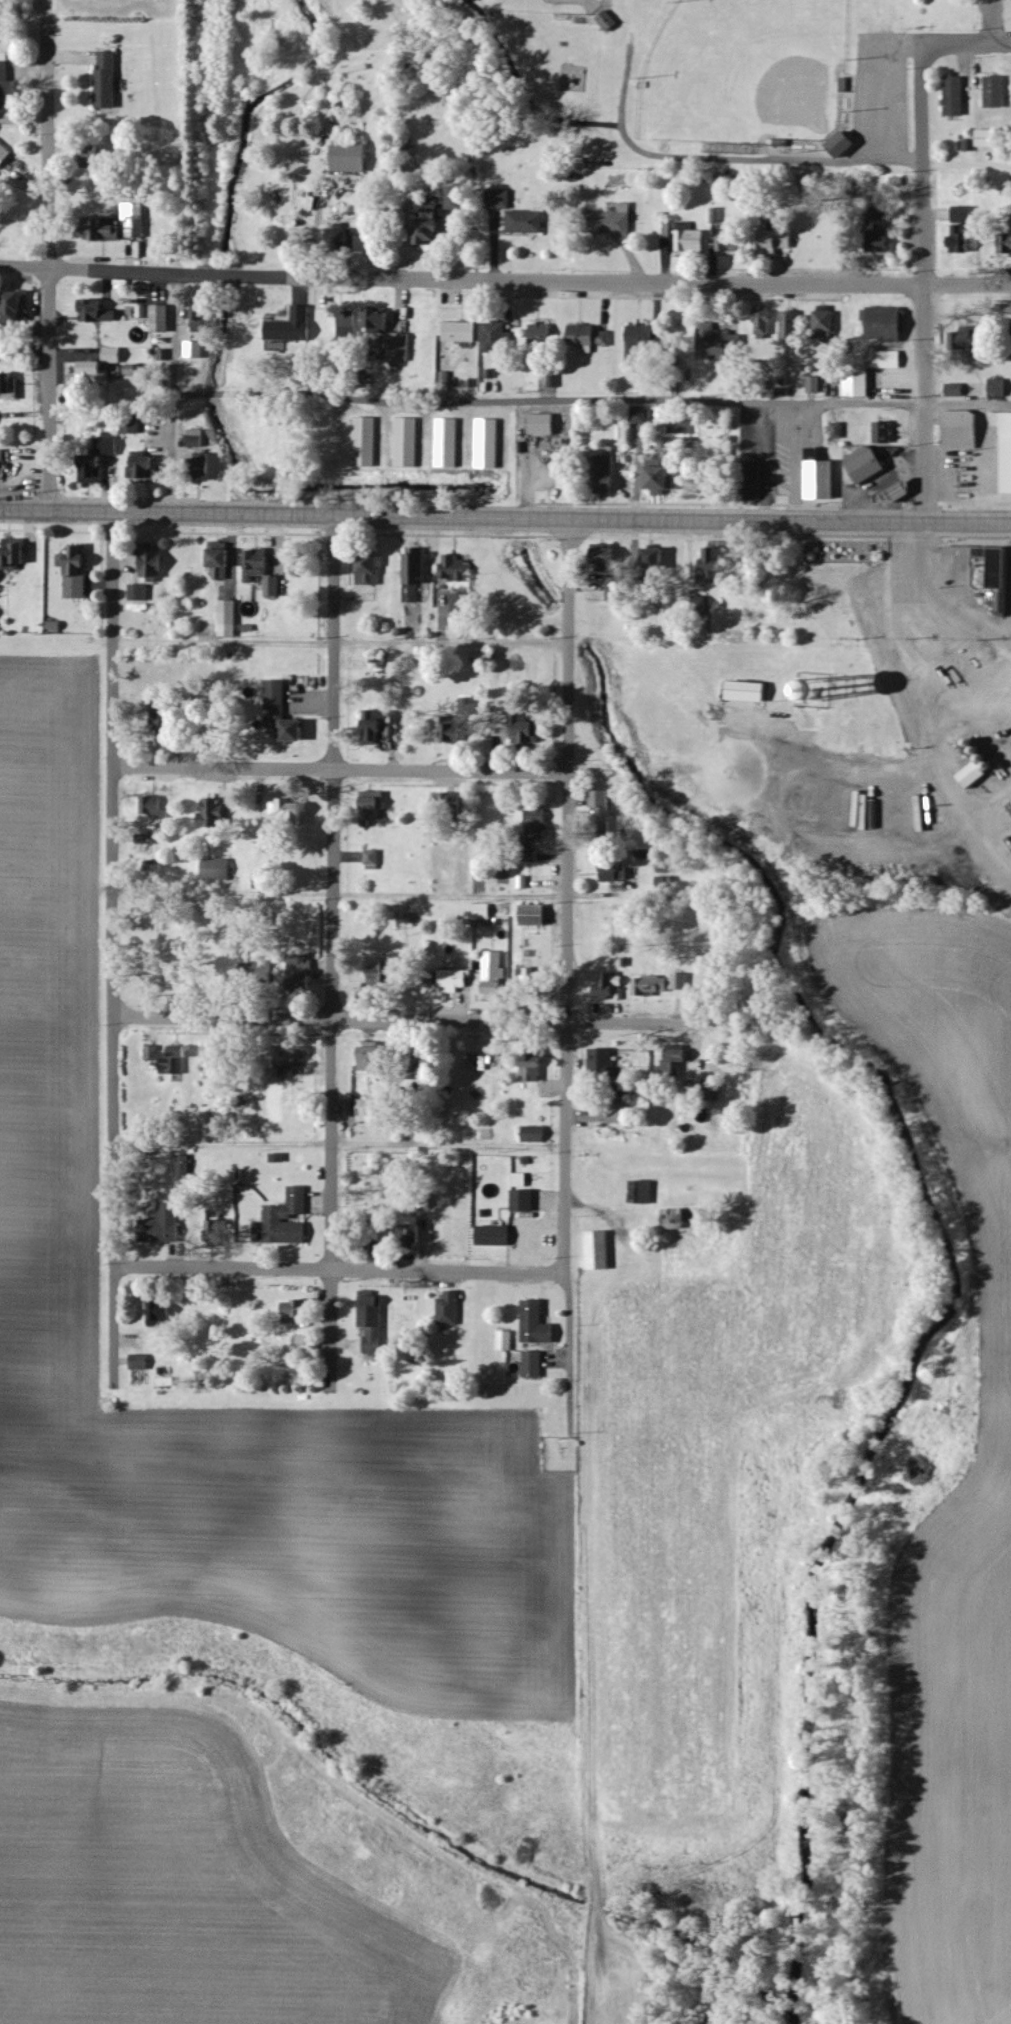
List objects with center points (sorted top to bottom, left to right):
building: (609, 22)
road: (990, 22)
road: (968, 45)
park: (744, 72)
park: (707, 76)
building: (107, 82)
building: (6, 85)
building: (997, 93)
building: (956, 97)
road: (515, 99)
building: (988, 139)
building: (845, 146)
building: (5, 154)
building: (353, 158)
road: (723, 159)
road: (966, 162)
building: (500, 200)
building: (456, 203)
building: (136, 220)
building: (616, 221)
building: (527, 222)
building: (103, 229)
building: (882, 229)
building: (432, 230)
building: (665, 230)
building: (964, 230)
building: (345, 239)
building: (691, 239)
building: (730, 239)
building: (780, 242)
building: (1001, 243)
road: (48, 280)
road: (505, 281)
road: (924, 287)
building: (15, 307)
building: (162, 319)
building: (201, 319)
building: (99, 321)
building: (379, 321)
building: (765, 322)
building: (349, 324)
building: (827, 324)
building: (886, 324)
building: (727, 325)
building: (294, 326)
building: (791, 327)
building: (462, 332)
building: (543, 334)
building: (591, 336)
building: (499, 339)
building: (642, 342)
building: (720, 342)
building: (402, 347)
building: (195, 350)
building: (101, 367)
building: (860, 383)
building: (8, 384)
building: (815, 385)
building: (999, 388)
building: (957, 390)
road: (535, 401)
building: (641, 416)
building: (545, 425)
building: (132, 428)
building: (963, 430)
building: (838, 431)
building: (885, 432)
building: (198, 439)
building: (366, 442)
building: (408, 442)
building: (449, 443)
building: (489, 444)
building: (1008, 455)
building: (100, 460)
building: (867, 465)
building: (145, 468)
building: (608, 472)
building: (823, 476)
building: (661, 477)
road: (505, 519)
building: (16, 554)
building: (610, 555)
building: (222, 560)
building: (966, 561)
building: (655, 562)
building: (153, 564)
building: (258, 564)
building: (714, 566)
building: (456, 568)
building: (1002, 568)
building: (369, 570)
building: (77, 572)
building: (0, 573)
building: (416, 575)
building: (274, 586)
building: (617, 590)
building: (140, 593)
building: (1001, 600)
road: (937, 602)
building: (462, 605)
building: (229, 618)
road: (339, 642)
building: (488, 657)
building: (750, 691)
building: (467, 706)
building: (284, 714)
building: (377, 726)
building: (520, 727)
building: (453, 730)
road: (938, 741)
road: (339, 770)
building: (975, 775)
building: (603, 799)
building: (377, 804)
building: (154, 808)
building: (291, 811)
building: (215, 814)
road: (994, 827)
building: (373, 860)
building: (218, 869)
building: (616, 871)
road: (112, 889)
road: (332, 893)
road: (566, 896)
building: (483, 915)
building: (536, 916)
building: (497, 965)
building: (387, 973)
building: (258, 974)
building: (302, 975)
building: (453, 977)
building: (537, 977)
building: (660, 985)
building: (609, 987)
road: (399, 1021)
building: (154, 1053)
building: (213, 1054)
building: (291, 1058)
building: (177, 1061)
building: (375, 1061)
building: (602, 1062)
building: (676, 1062)
building: (535, 1068)
building: (371, 1110)
building: (220, 1121)
building: (536, 1135)
building: (185, 1167)
building: (520, 1180)
building: (644, 1193)
building: (525, 1201)
building: (289, 1219)
building: (675, 1219)
building: (164, 1225)
building: (213, 1233)
building: (414, 1235)
building: (495, 1236)
building: (600, 1251)
road: (337, 1270)
building: (450, 1309)
building: (297, 1311)
building: (154, 1312)
road: (571, 1319)
building: (373, 1323)
building: (537, 1324)
road: (330, 1327)
building: (505, 1341)
building: (305, 1345)
building: (141, 1363)
building: (534, 1365)

